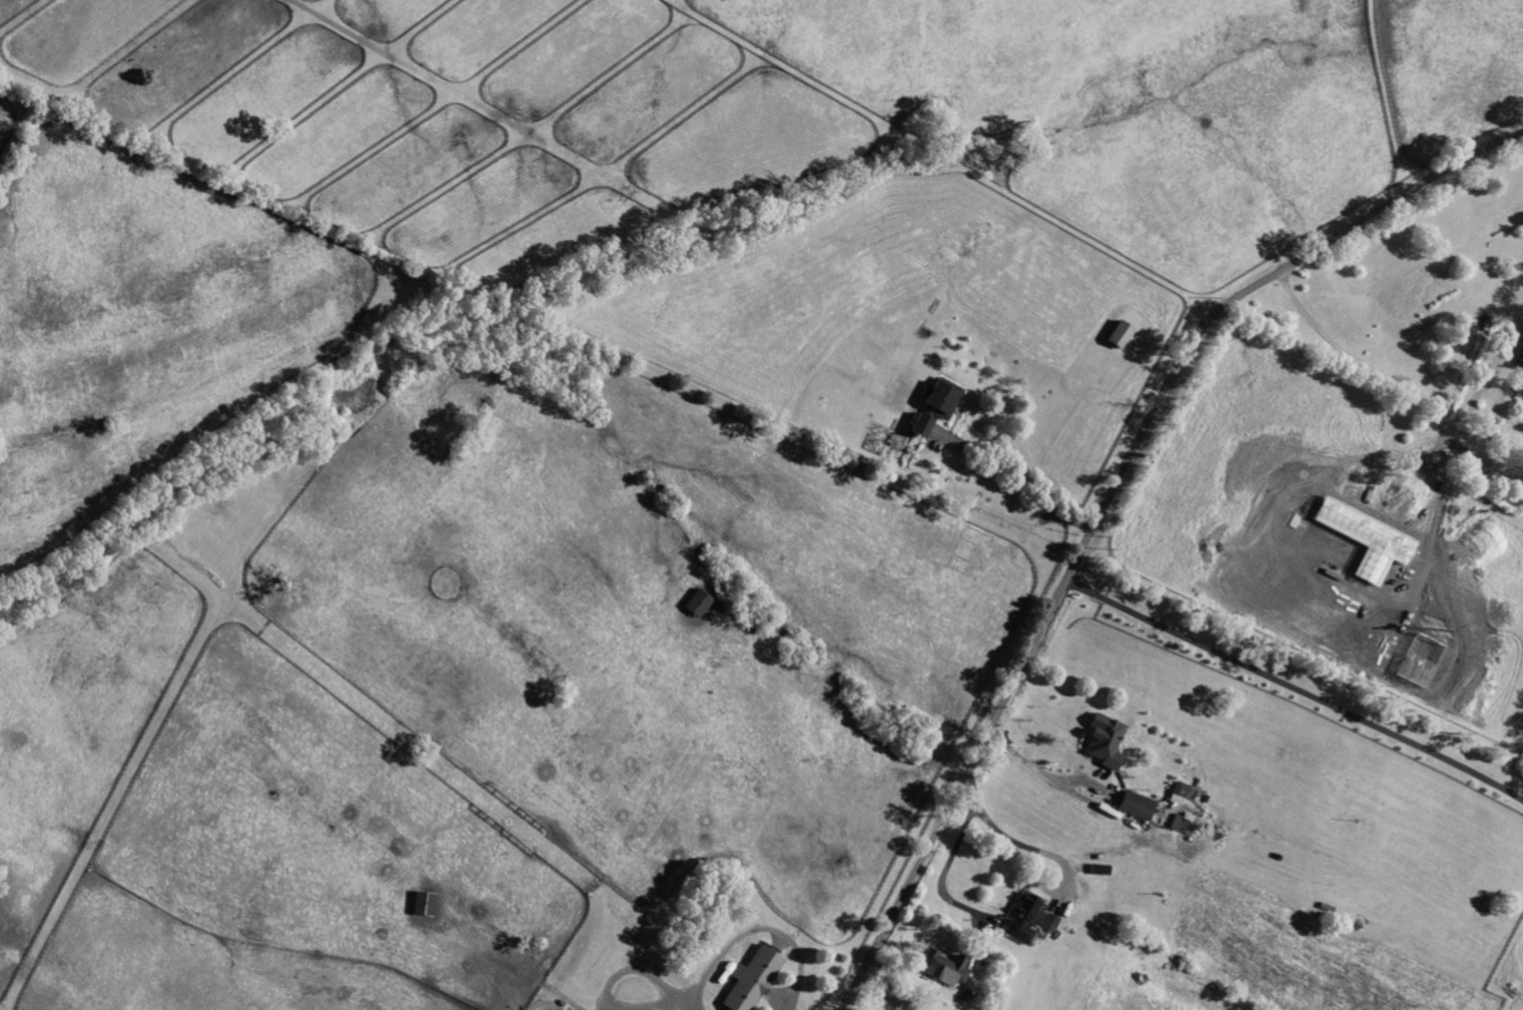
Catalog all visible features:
building: (1122, 335)
building: (1520, 363)
road: (1397, 373)
building: (944, 400)
building: (923, 426)
road: (1021, 478)
building: (1415, 488)
road: (1109, 500)
building: (700, 604)
road: (1296, 689)
building: (1106, 742)
road: (1036, 769)
building: (1181, 794)
building: (1139, 807)
building: (1178, 823)
road: (1048, 854)
road: (950, 867)
building: (425, 904)
building: (1026, 918)
building: (1053, 923)
building: (947, 968)
road: (902, 973)
building: (754, 979)
road: (890, 995)

